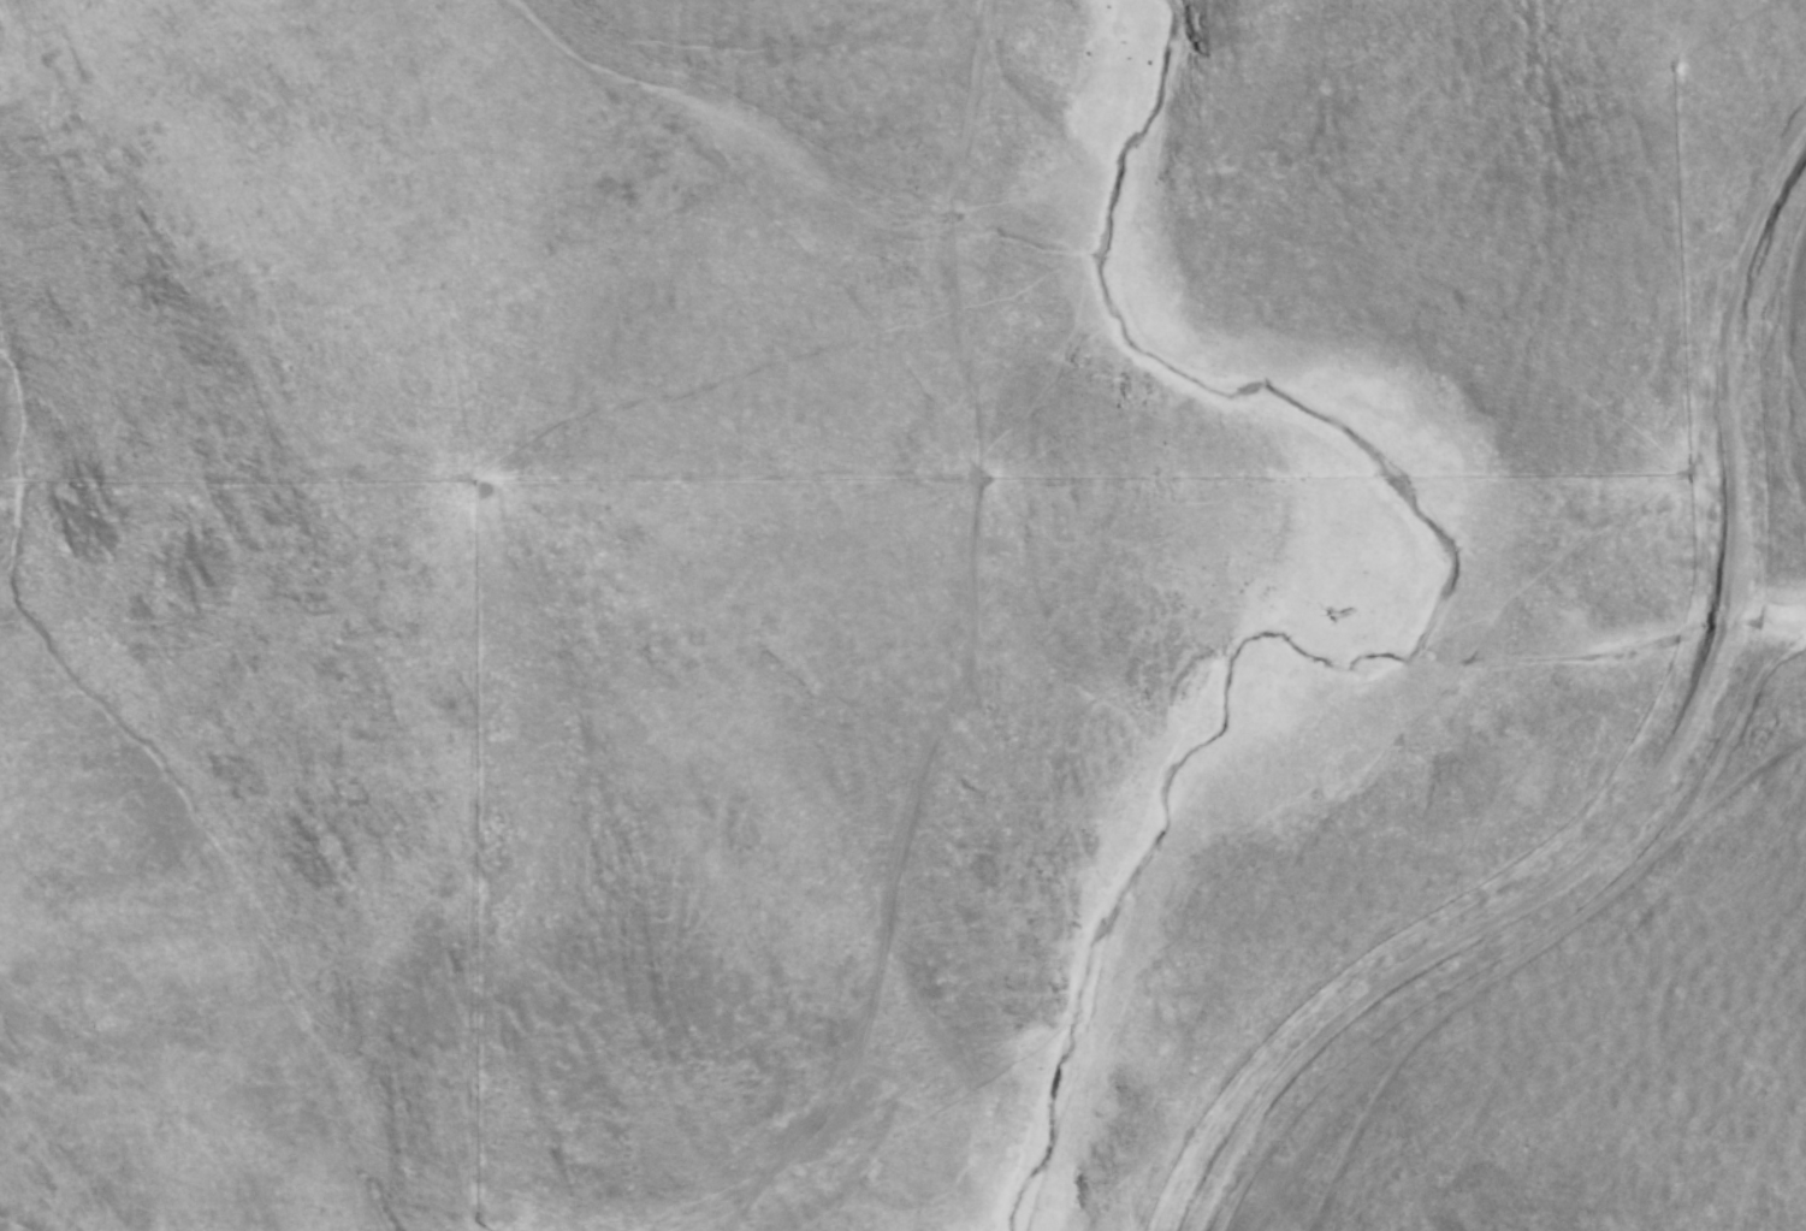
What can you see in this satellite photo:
road: (965, 651)

